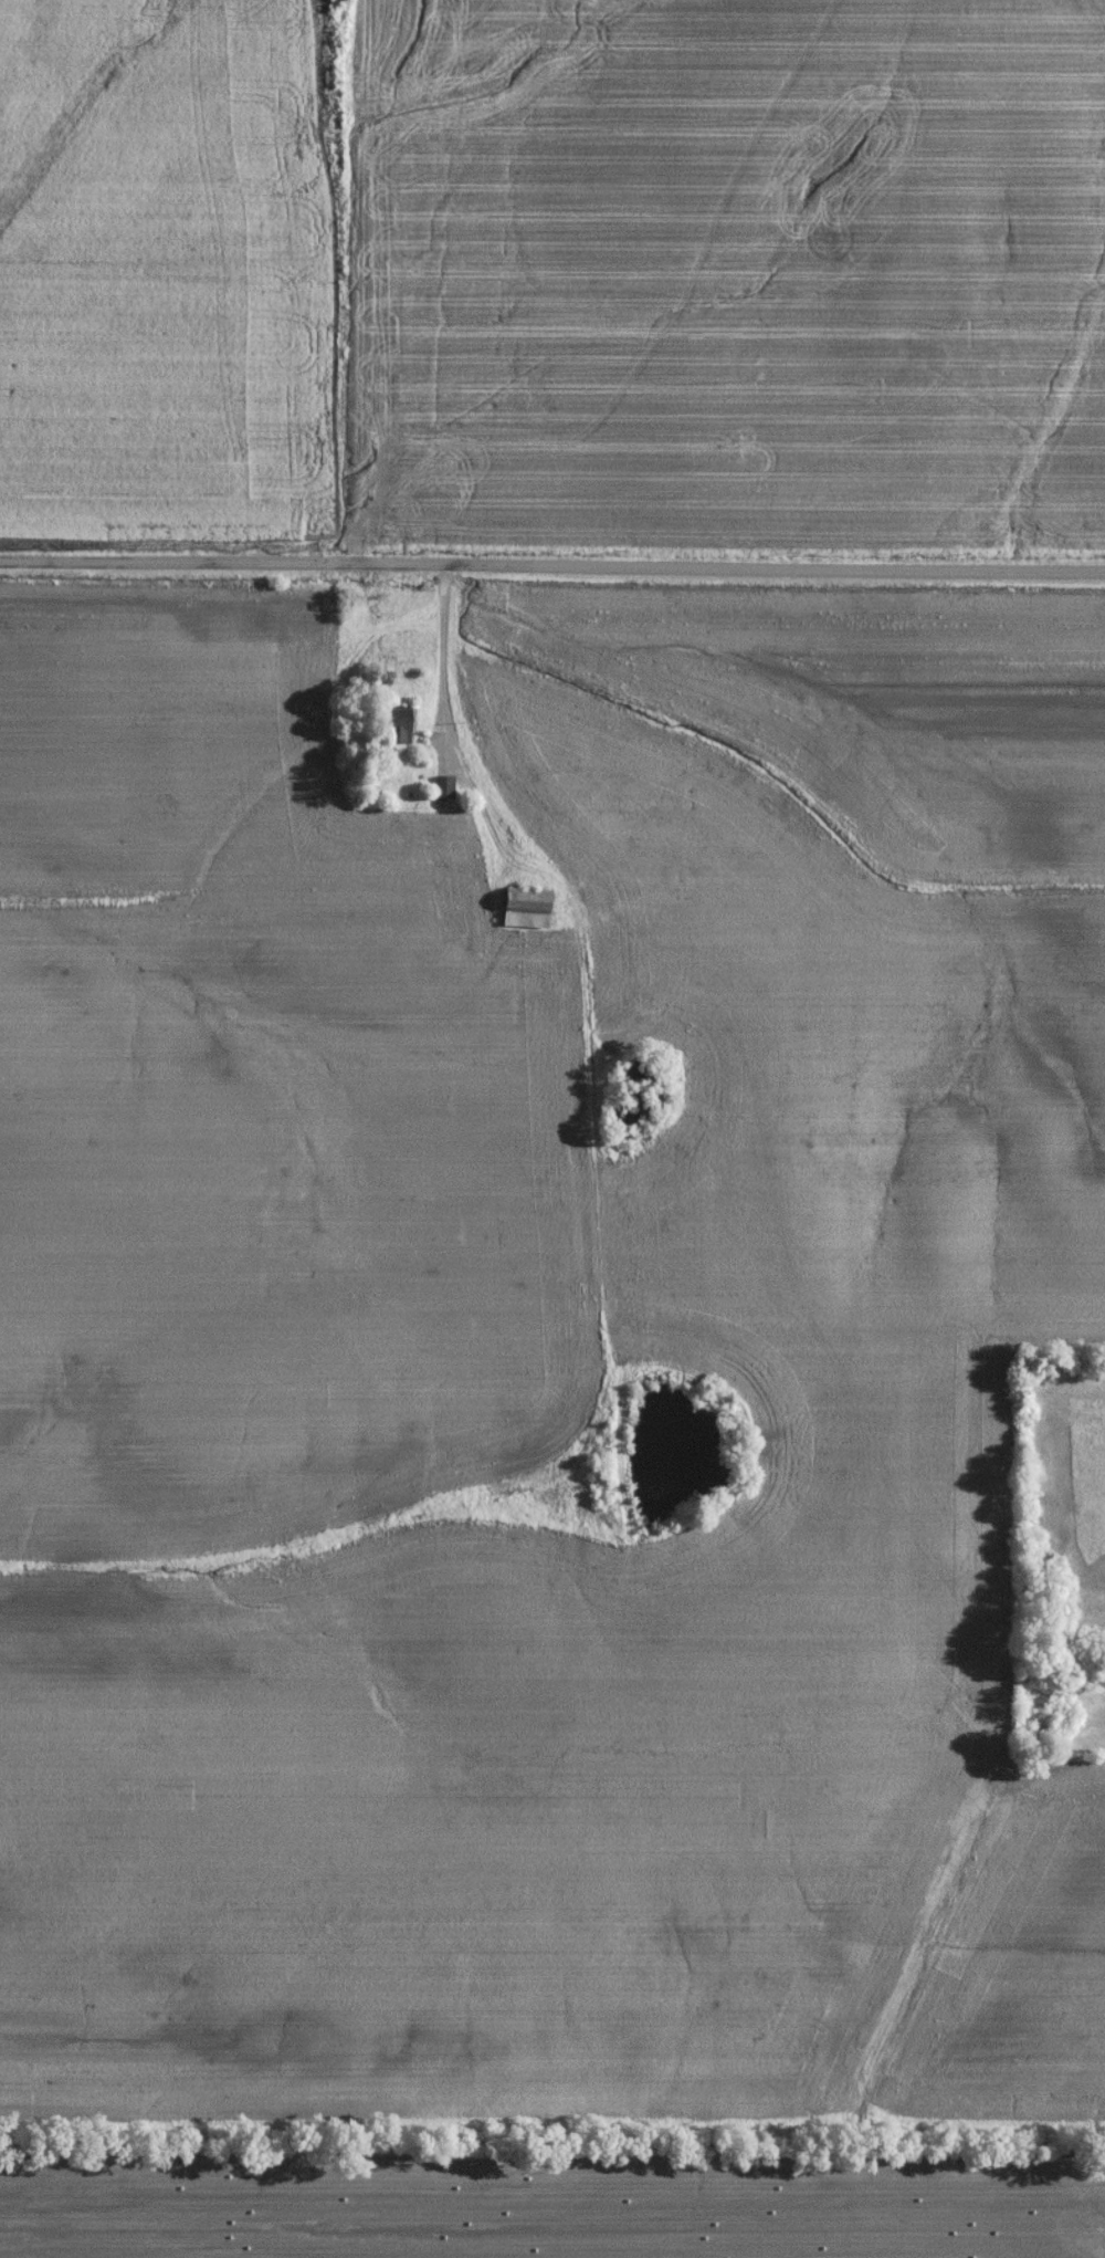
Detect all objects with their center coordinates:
road: (552, 567)
road: (442, 673)
building: (402, 728)
building: (444, 791)
building: (528, 911)

